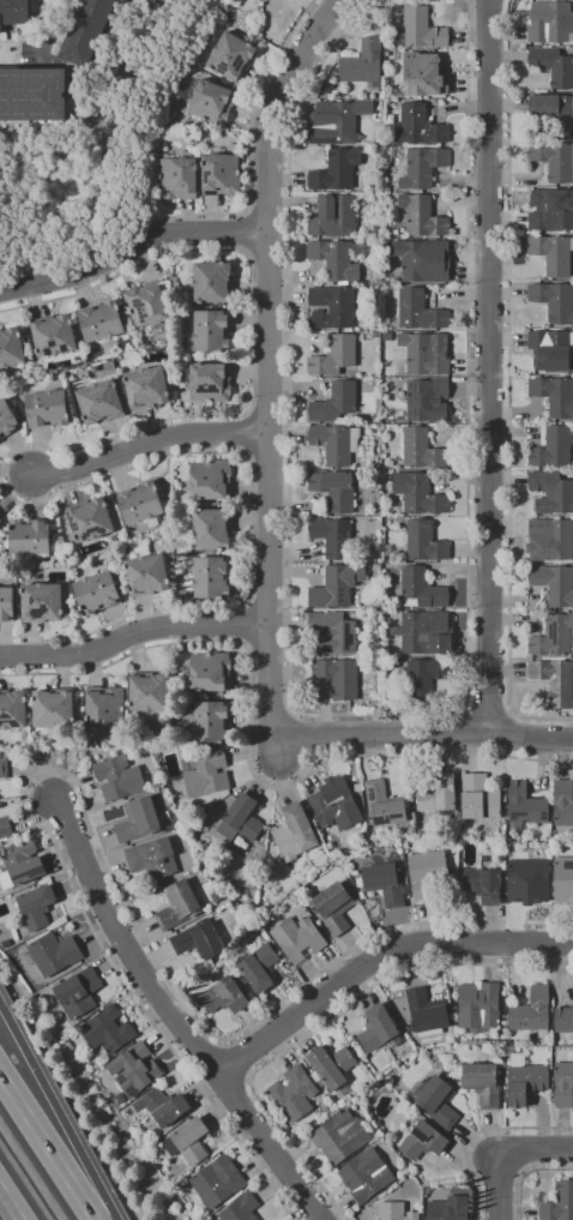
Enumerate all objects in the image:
building: (131, 0)
building: (123, 1)
road: (334, 11)
building: (14, 12)
building: (549, 22)
building: (420, 30)
road: (44, 31)
building: (84, 37)
building: (231, 56)
rooftop solar panel: (236, 62)
building: (363, 62)
rooftop solar panel: (219, 66)
building: (553, 66)
building: (424, 74)
building: (34, 94)
building: (381, 94)
building: (210, 102)
building: (555, 112)
building: (337, 121)
building: (418, 126)
building: (204, 140)
road: (252, 149)
building: (387, 156)
building: (554, 160)
building: (422, 168)
building: (337, 170)
building: (221, 173)
rooftop solar panel: (204, 175)
building: (176, 179)
rooftop solar panel: (210, 193)
building: (551, 211)
building: (334, 217)
building: (420, 218)
road: (131, 246)
building: (553, 254)
building: (337, 260)
building: (423, 260)
building: (211, 283)
building: (554, 301)
building: (147, 304)
building: (332, 307)
building: (417, 312)
building: (101, 321)
building: (212, 331)
building: (376, 333)
building: (52, 336)
building: (11, 348)
building: (551, 350)
building: (111, 351)
building: (426, 353)
building: (334, 356)
road: (488, 365)
road: (270, 373)
building: (209, 383)
road: (511, 386)
building: (146, 387)
rooftop solar panel: (128, 390)
rooftop solar panel: (206, 390)
building: (554, 396)
rooftop solar panel: (414, 397)
building: (427, 401)
rooftop solar panel: (129, 402)
building: (99, 403)
building: (336, 404)
building: (47, 409)
rooftop solar panel: (414, 414)
building: (7, 420)
building: (336, 444)
road: (149, 445)
building: (551, 449)
building: (423, 450)
road: (1, 467)
building: (210, 480)
building: (334, 489)
building: (551, 493)
building: (418, 494)
building: (140, 503)
building: (0, 518)
building: (0, 519)
building: (90, 519)
rooftop solar panel: (72, 525)
building: (211, 529)
building: (332, 536)
building: (28, 537)
building: (550, 540)
building: (424, 541)
building: (145, 575)
building: (207, 576)
building: (554, 583)
building: (336, 587)
building: (421, 589)
building: (96, 593)
building: (42, 602)
building: (6, 605)
road: (246, 625)
building: (333, 633)
building: (426, 633)
road: (133, 635)
building: (553, 637)
building: (210, 672)
building: (338, 678)
building: (422, 680)
building: (555, 681)
building: (150, 692)
building: (104, 707)
building: (52, 709)
building: (12, 710)
road: (487, 710)
road: (360, 716)
building: (209, 721)
road: (421, 733)
road: (249, 753)
building: (2, 768)
building: (206, 774)
building: (117, 777)
building: (438, 794)
building: (478, 798)
building: (334, 804)
building: (563, 804)
building: (382, 805)
building: (524, 805)
rooftop solar panel: (388, 815)
building: (241, 819)
building: (137, 821)
building: (5, 830)
building: (294, 833)
road: (59, 854)
building: (152, 859)
building: (20, 864)
rooftop solar panel: (29, 871)
building: (429, 876)
building: (563, 879)
building: (527, 882)
building: (385, 883)
building: (483, 885)
rooftop solar panel: (29, 905)
building: (176, 906)
building: (35, 907)
building: (332, 908)
road: (378, 936)
building: (297, 938)
building: (199, 942)
building: (52, 954)
road: (376, 958)
building: (259, 967)
building: (78, 992)
building: (224, 996)
building: (478, 1006)
building: (427, 1012)
building: (532, 1014)
road: (174, 1017)
building: (563, 1020)
road: (322, 1021)
building: (376, 1028)
building: (107, 1030)
road: (236, 1059)
building: (332, 1068)
building: (135, 1070)
rooftop solar panel: (121, 1077)
building: (525, 1082)
building: (483, 1083)
building: (563, 1084)
rooftop solar panel: (131, 1093)
building: (294, 1093)
building: (436, 1101)
building: (162, 1106)
road: (56, 1113)
road: (477, 1132)
building: (340, 1136)
rooftop solar panel: (420, 1136)
building: (423, 1140)
building: (188, 1141)
road: (47, 1147)
road: (500, 1149)
building: (366, 1176)
road: (527, 1176)
building: (217, 1182)
building: (559, 1203)
road: (8, 1206)
building: (447, 1208)
building: (239, 1209)
building: (394, 1212)

